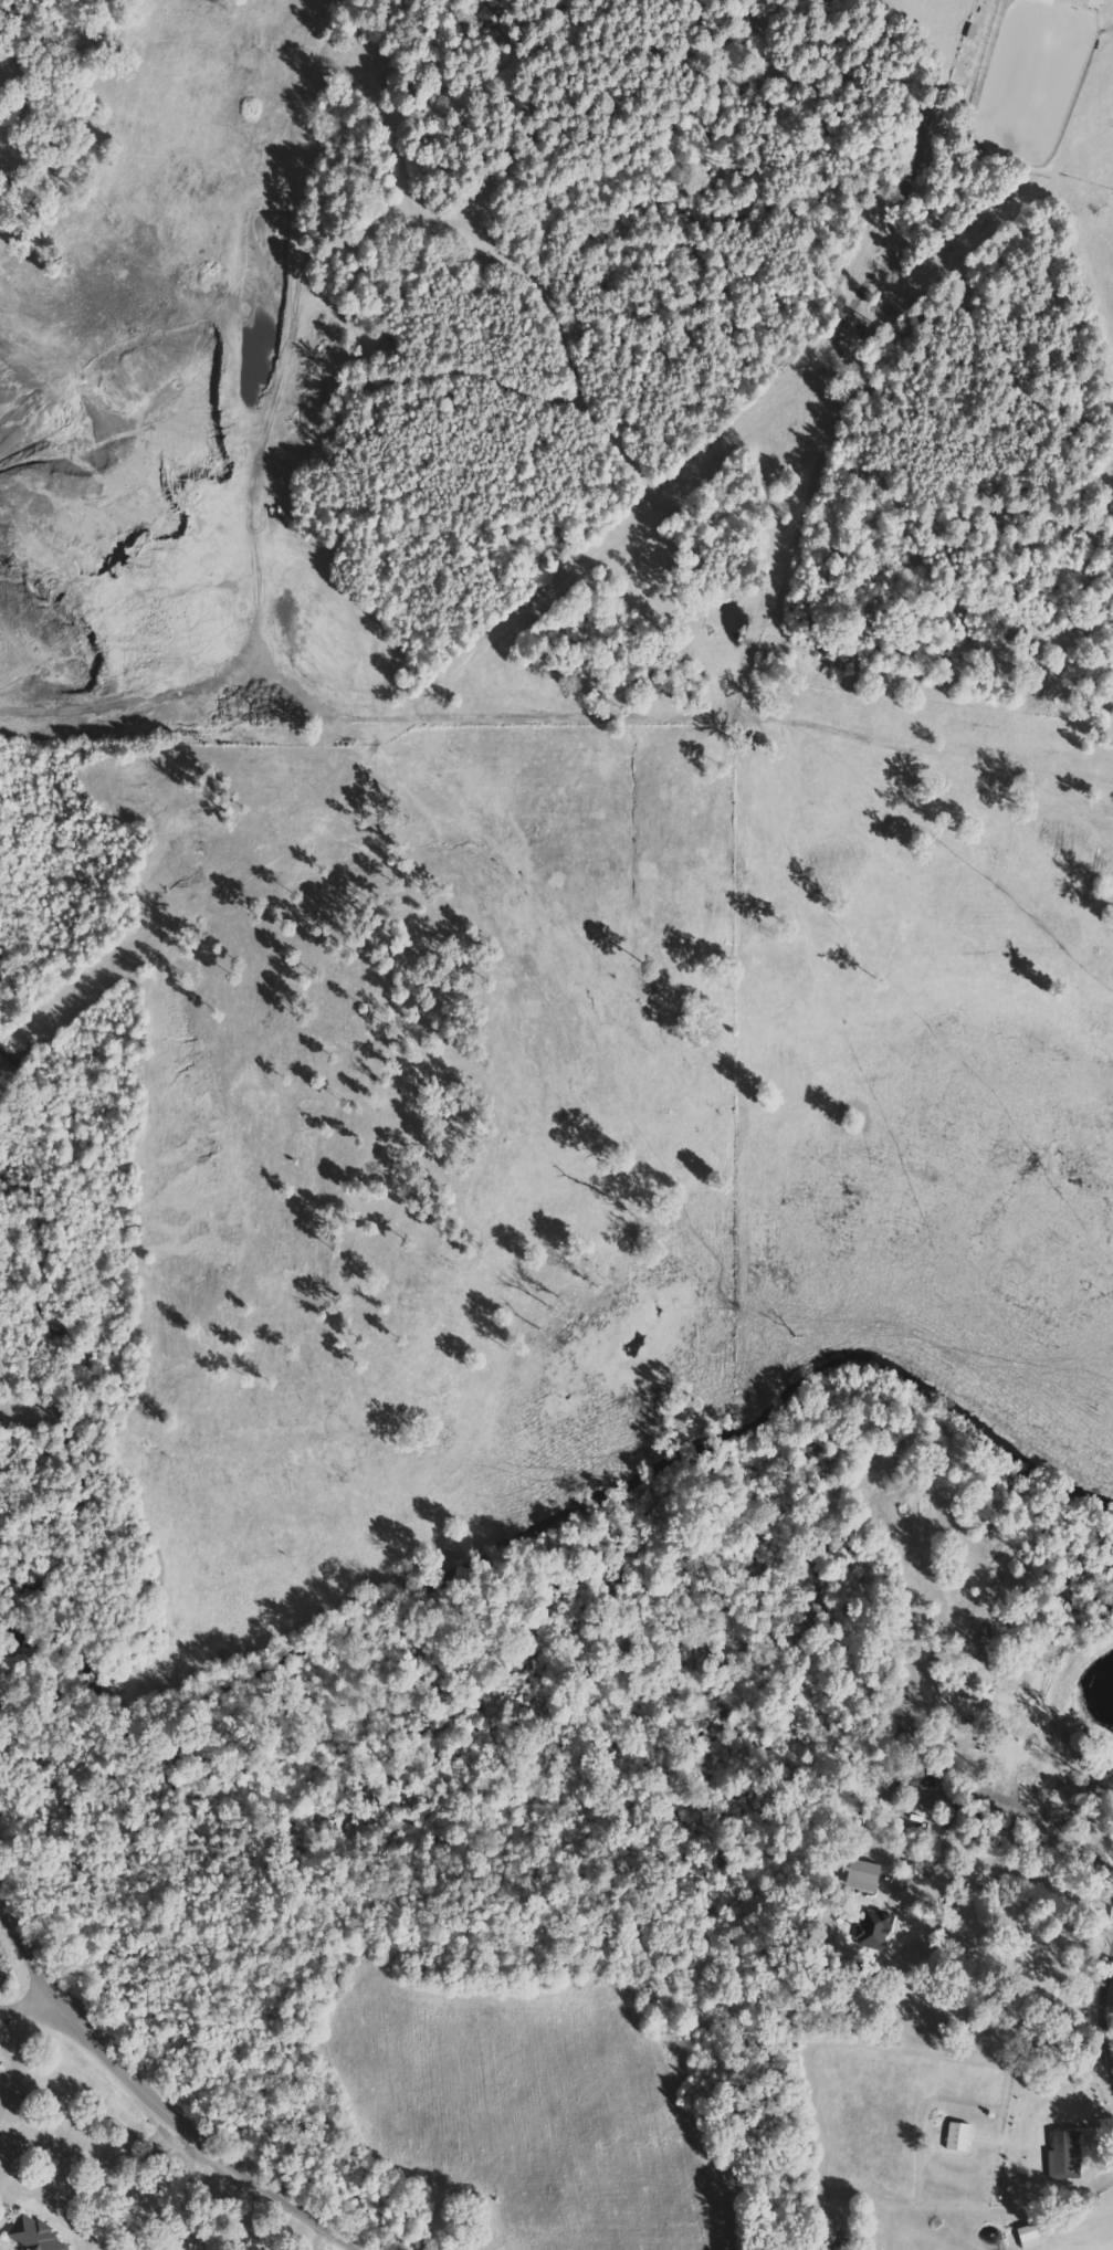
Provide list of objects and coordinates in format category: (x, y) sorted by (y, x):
building: (1047, 1)
building: (1090, 2)
building: (918, 1784)
building: (867, 1876)
building: (875, 1931)
road: (39, 2009)
road: (1111, 2039)
road: (156, 2097)
building: (959, 2137)
building: (1067, 2156)
building: (35, 2235)
building: (1031, 2238)

